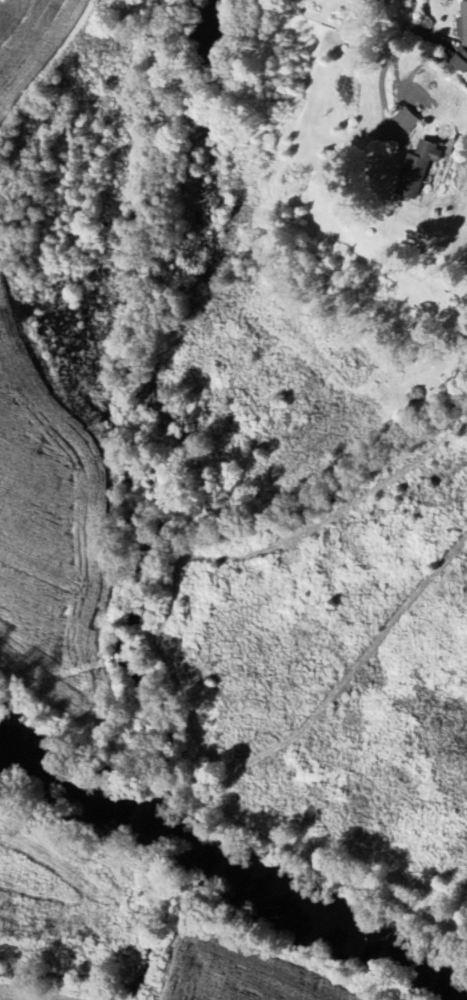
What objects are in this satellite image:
building: (369, 0)
building: (462, 23)
road: (394, 52)
building: (460, 60)
building: (405, 119)
building: (416, 169)
road: (377, 228)
building: (455, 385)
river: (74, 760)
river: (305, 895)

